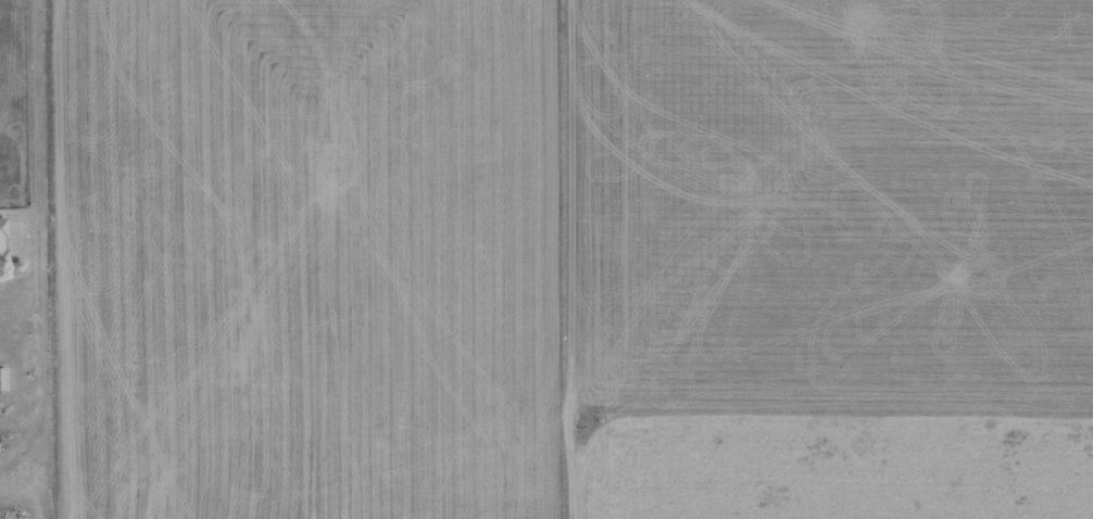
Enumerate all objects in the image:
road: (39, 210)

